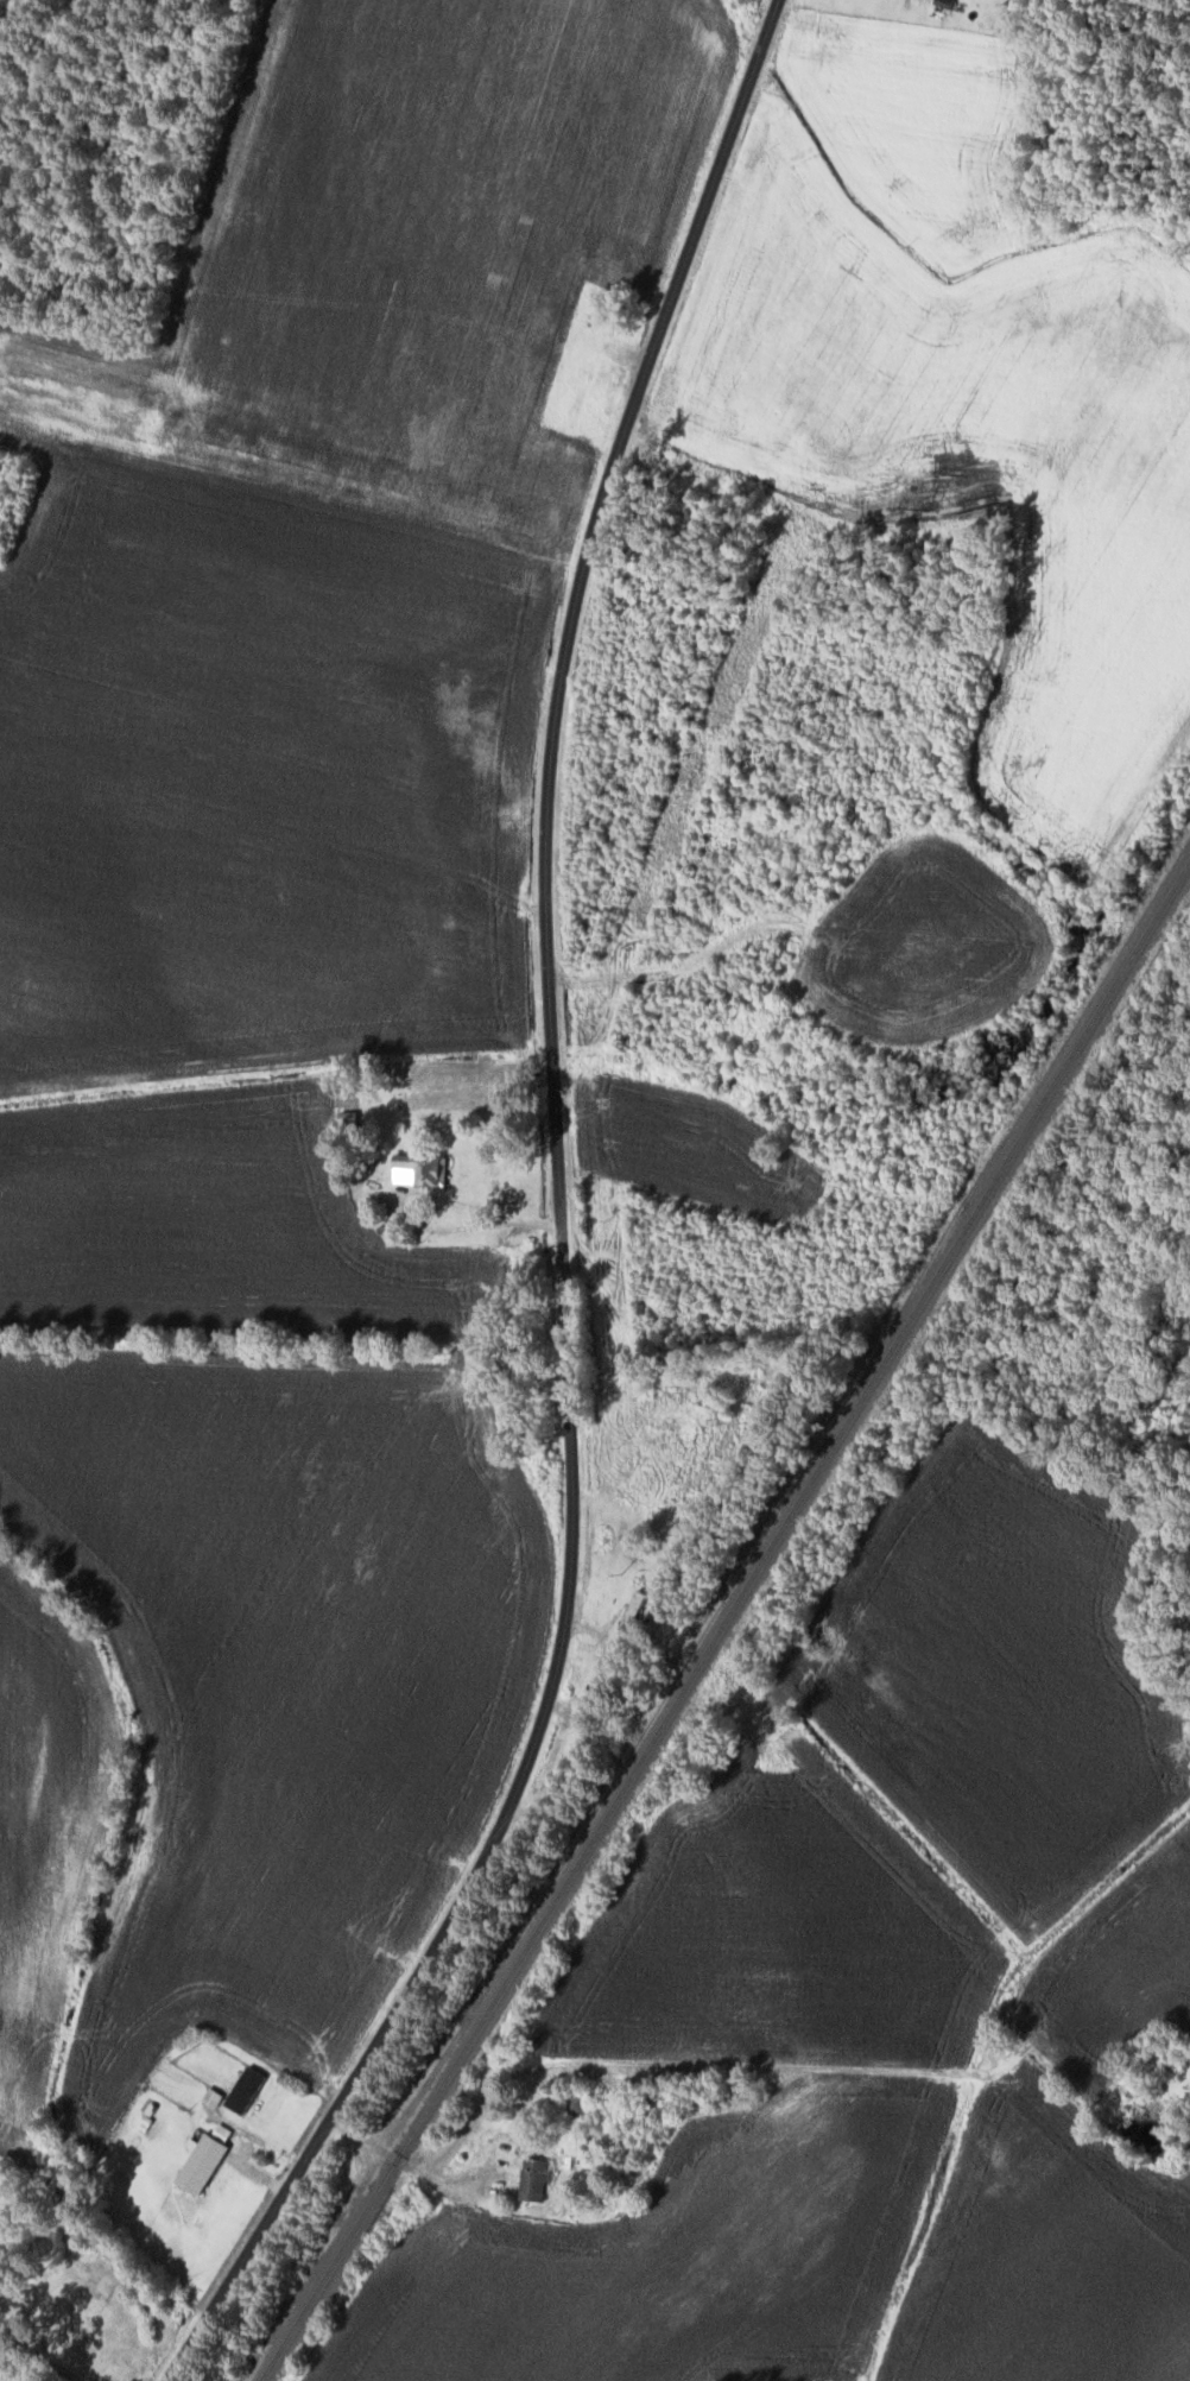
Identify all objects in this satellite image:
building: (414, 1168)
road: (437, 1196)
road: (556, 1224)
railway: (726, 1621)
building: (197, 2162)
building: (531, 2178)
road: (36, 2358)

